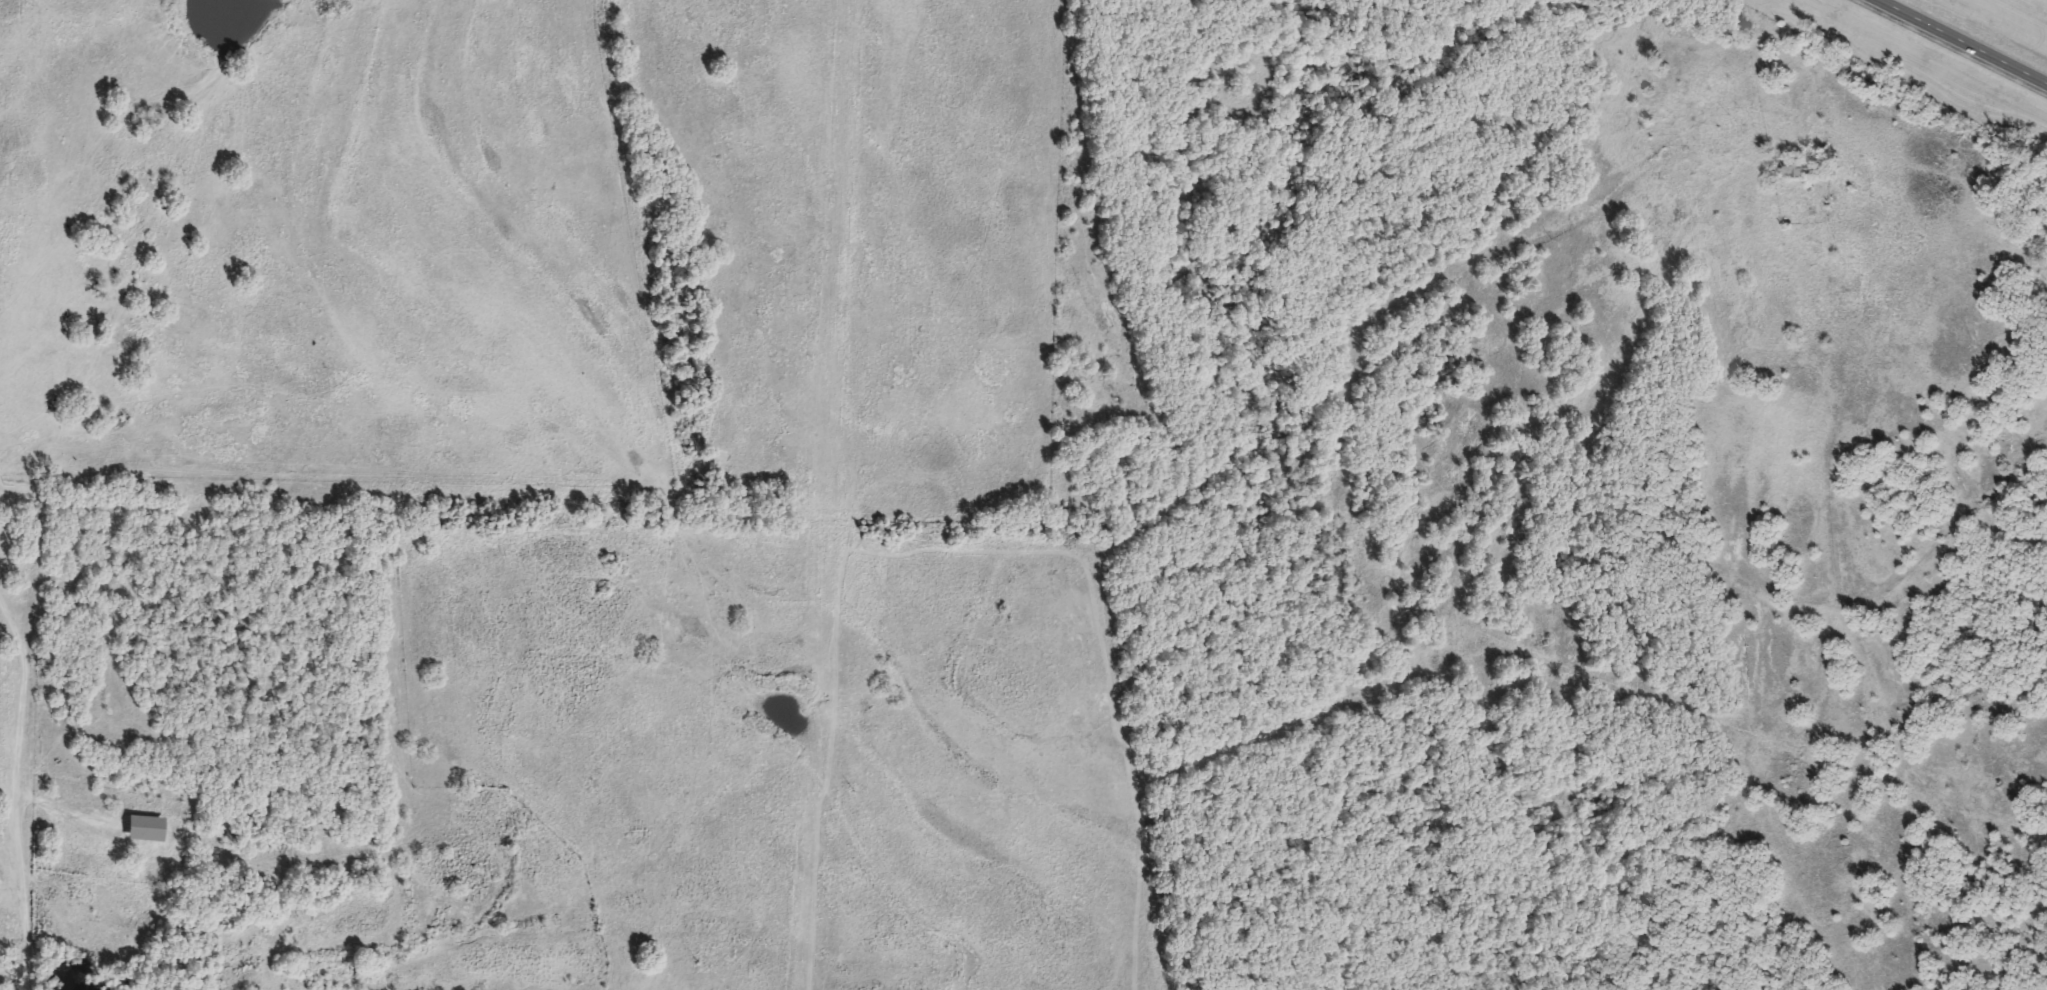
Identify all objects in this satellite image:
road: (1964, 41)
building: (1798, 169)
road: (14, 798)
building: (142, 829)

